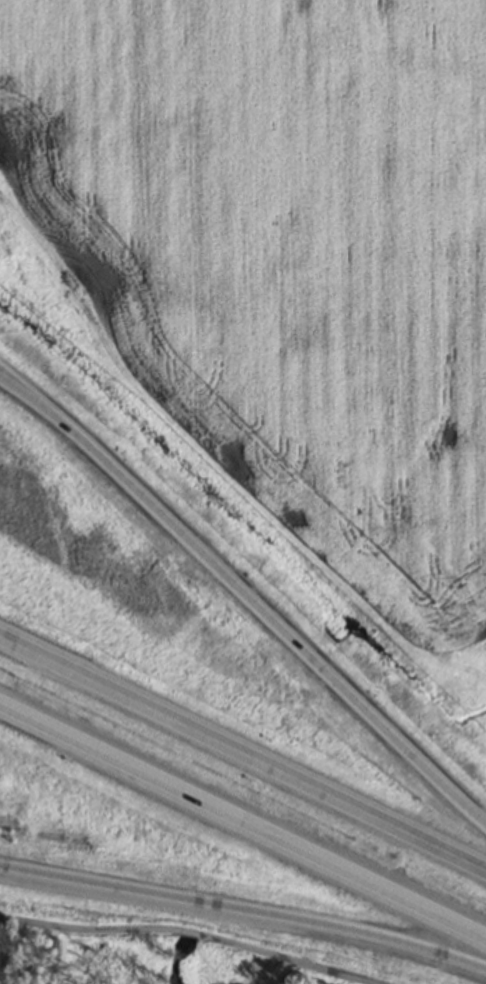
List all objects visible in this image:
road: (246, 597)
road: (240, 761)
road: (241, 828)
road: (244, 909)
road: (197, 933)

